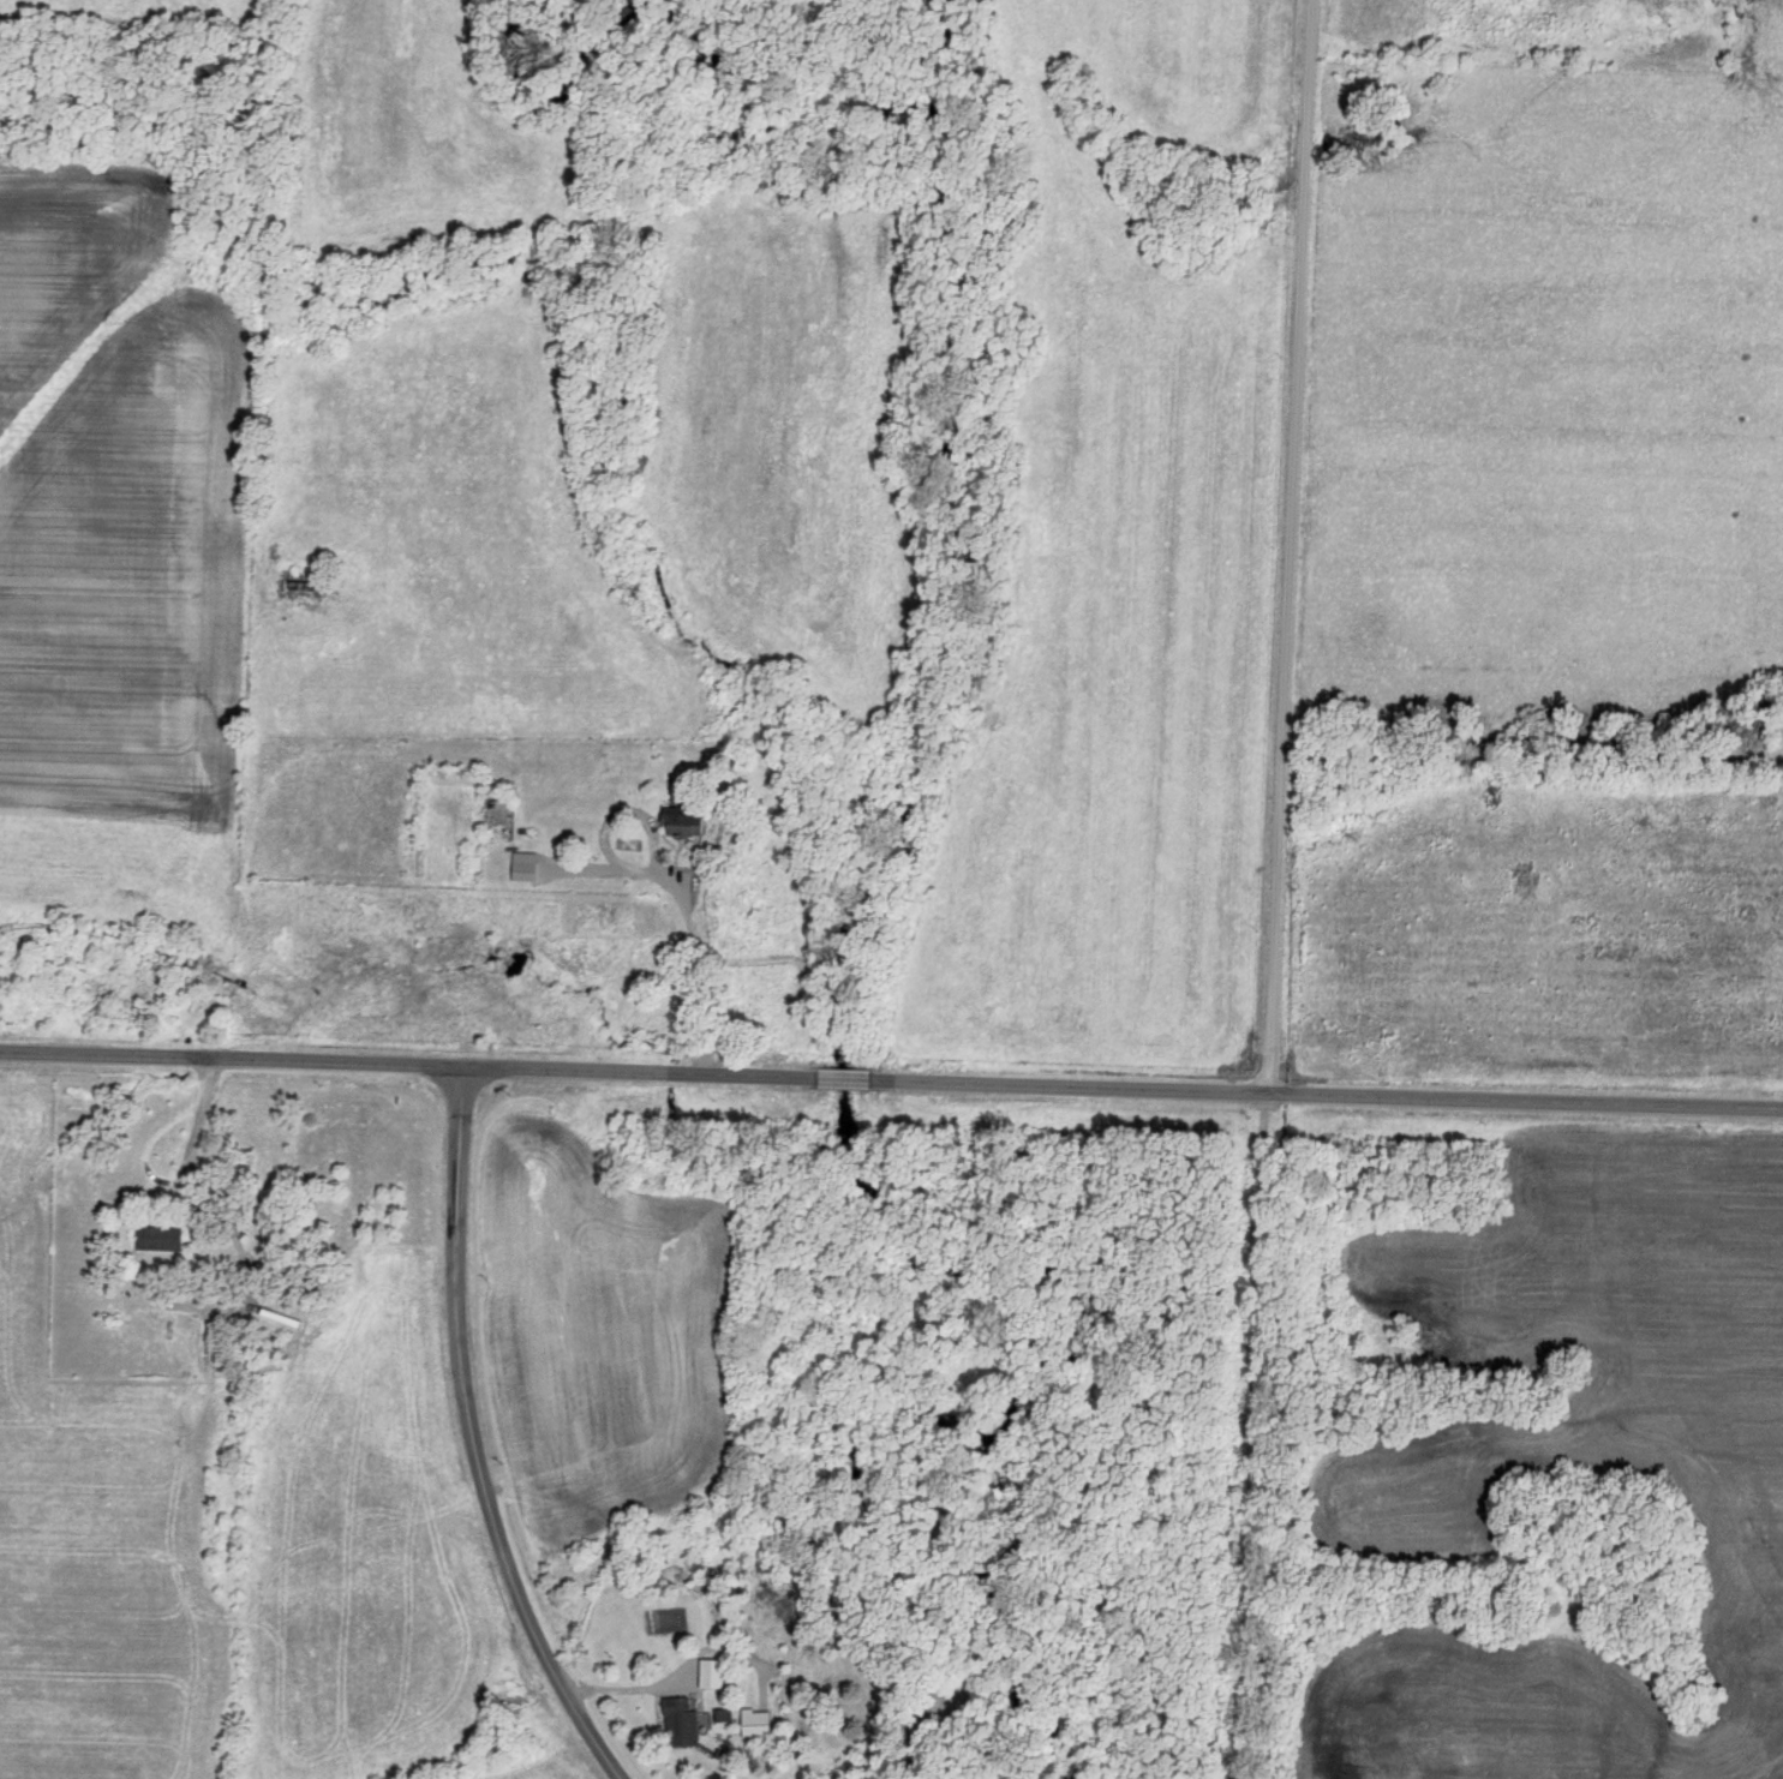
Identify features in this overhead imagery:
road: (1282, 547)
building: (303, 583)
building: (684, 821)
road: (689, 970)
road: (891, 1082)
building: (160, 1240)
road: (473, 1438)
building: (712, 1672)
building: (681, 1720)
building: (756, 1723)

